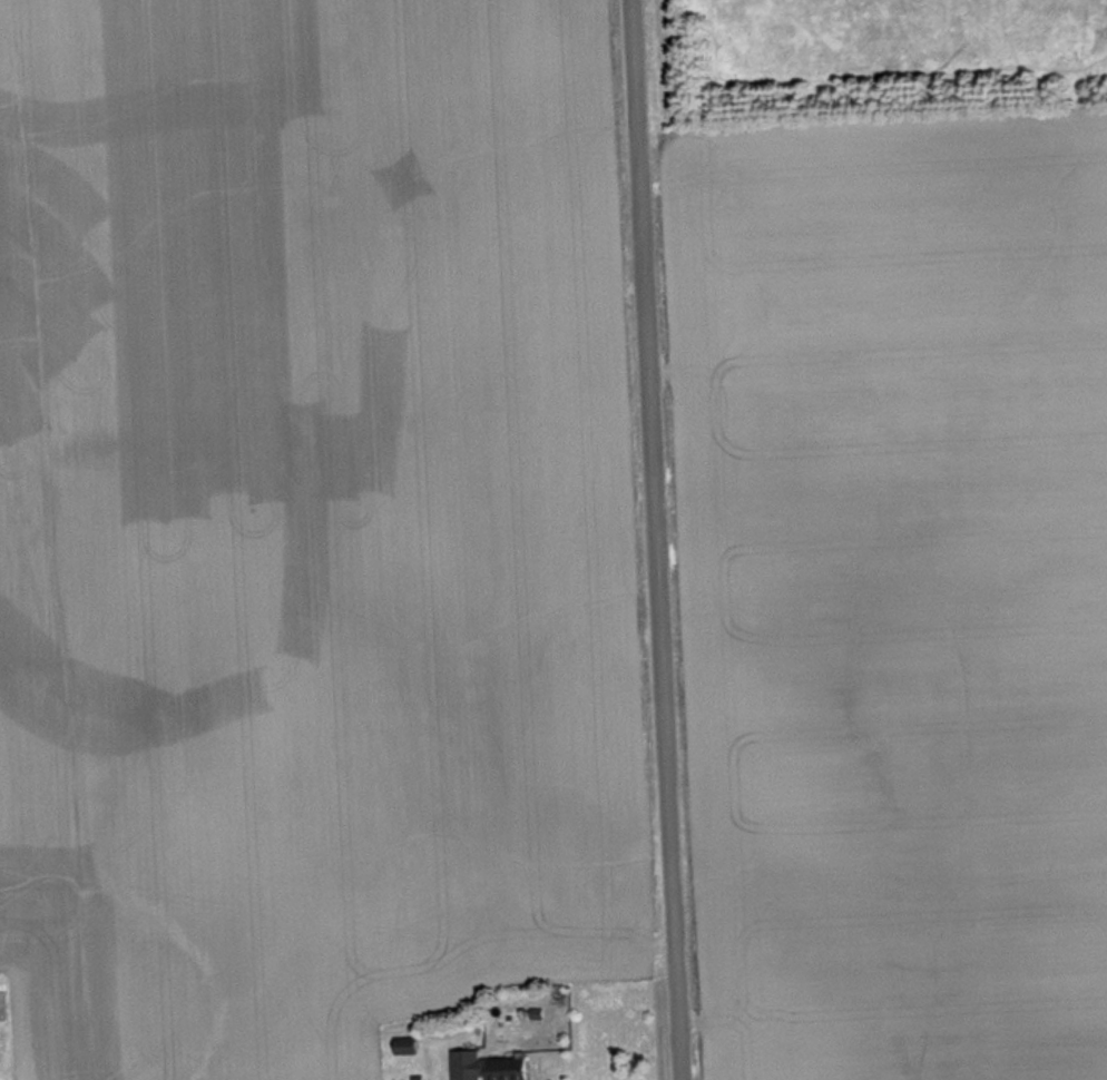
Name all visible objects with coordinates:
road: (654, 540)
building: (409, 1045)
building: (512, 1069)
building: (332, 1079)

